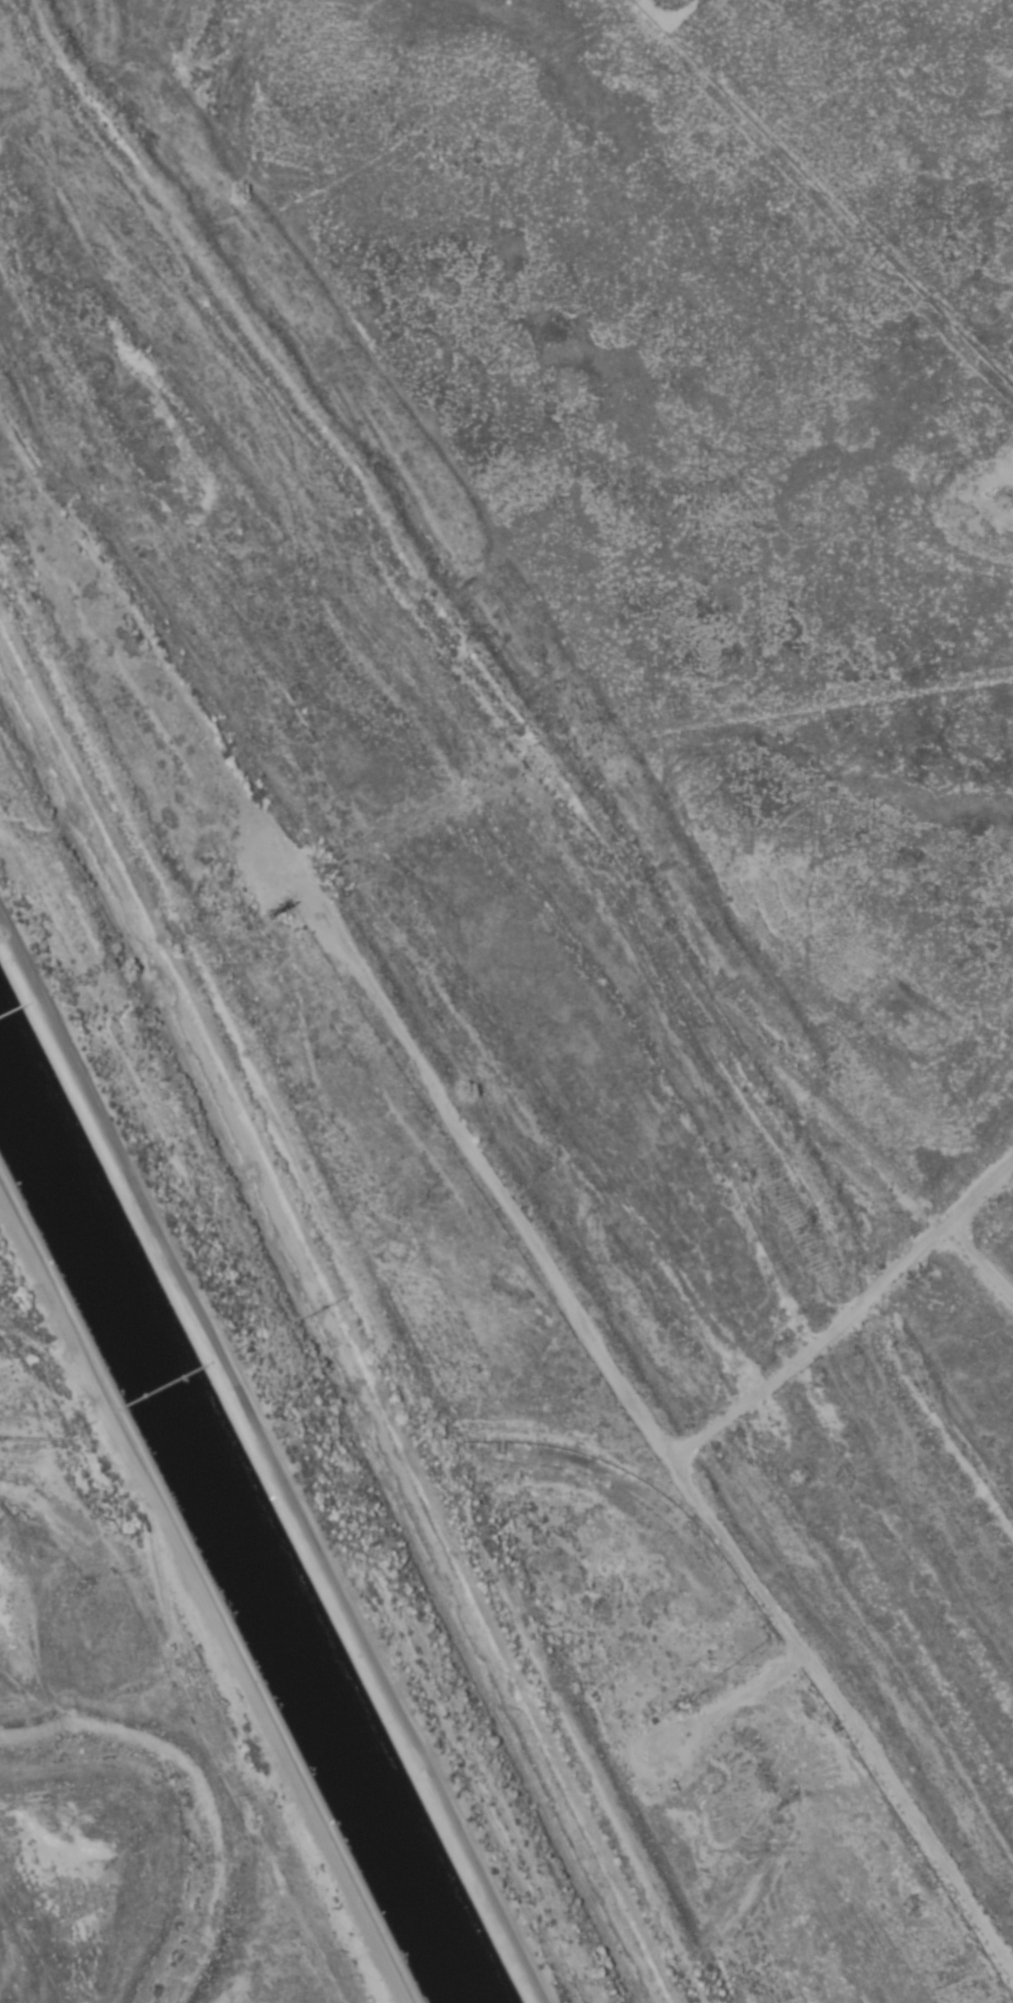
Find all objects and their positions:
road: (534, 737)
road: (968, 1224)
road: (485, 1241)
road: (273, 1460)
road: (202, 1599)
crop: (67, 1864)

